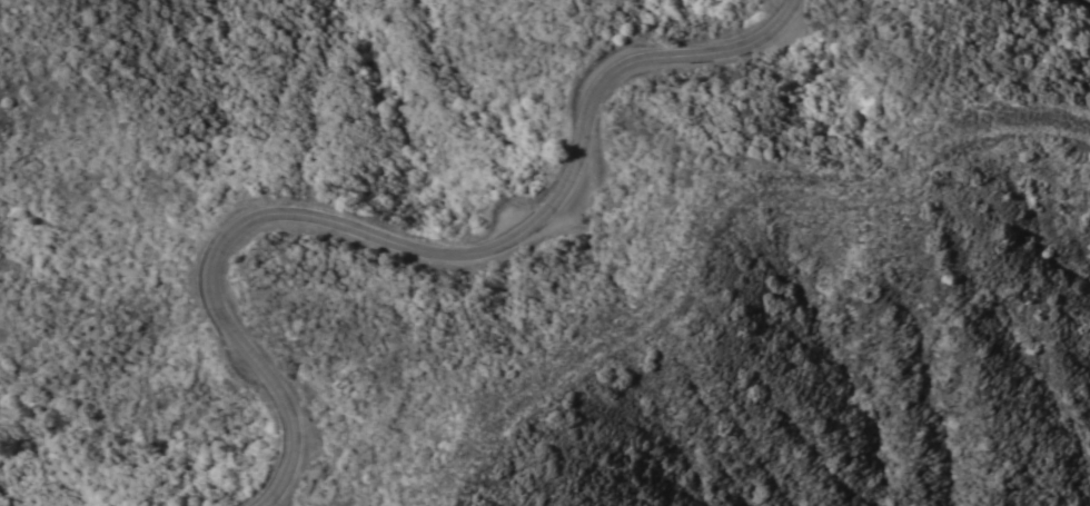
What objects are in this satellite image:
road: (719, 220)
road: (417, 249)

